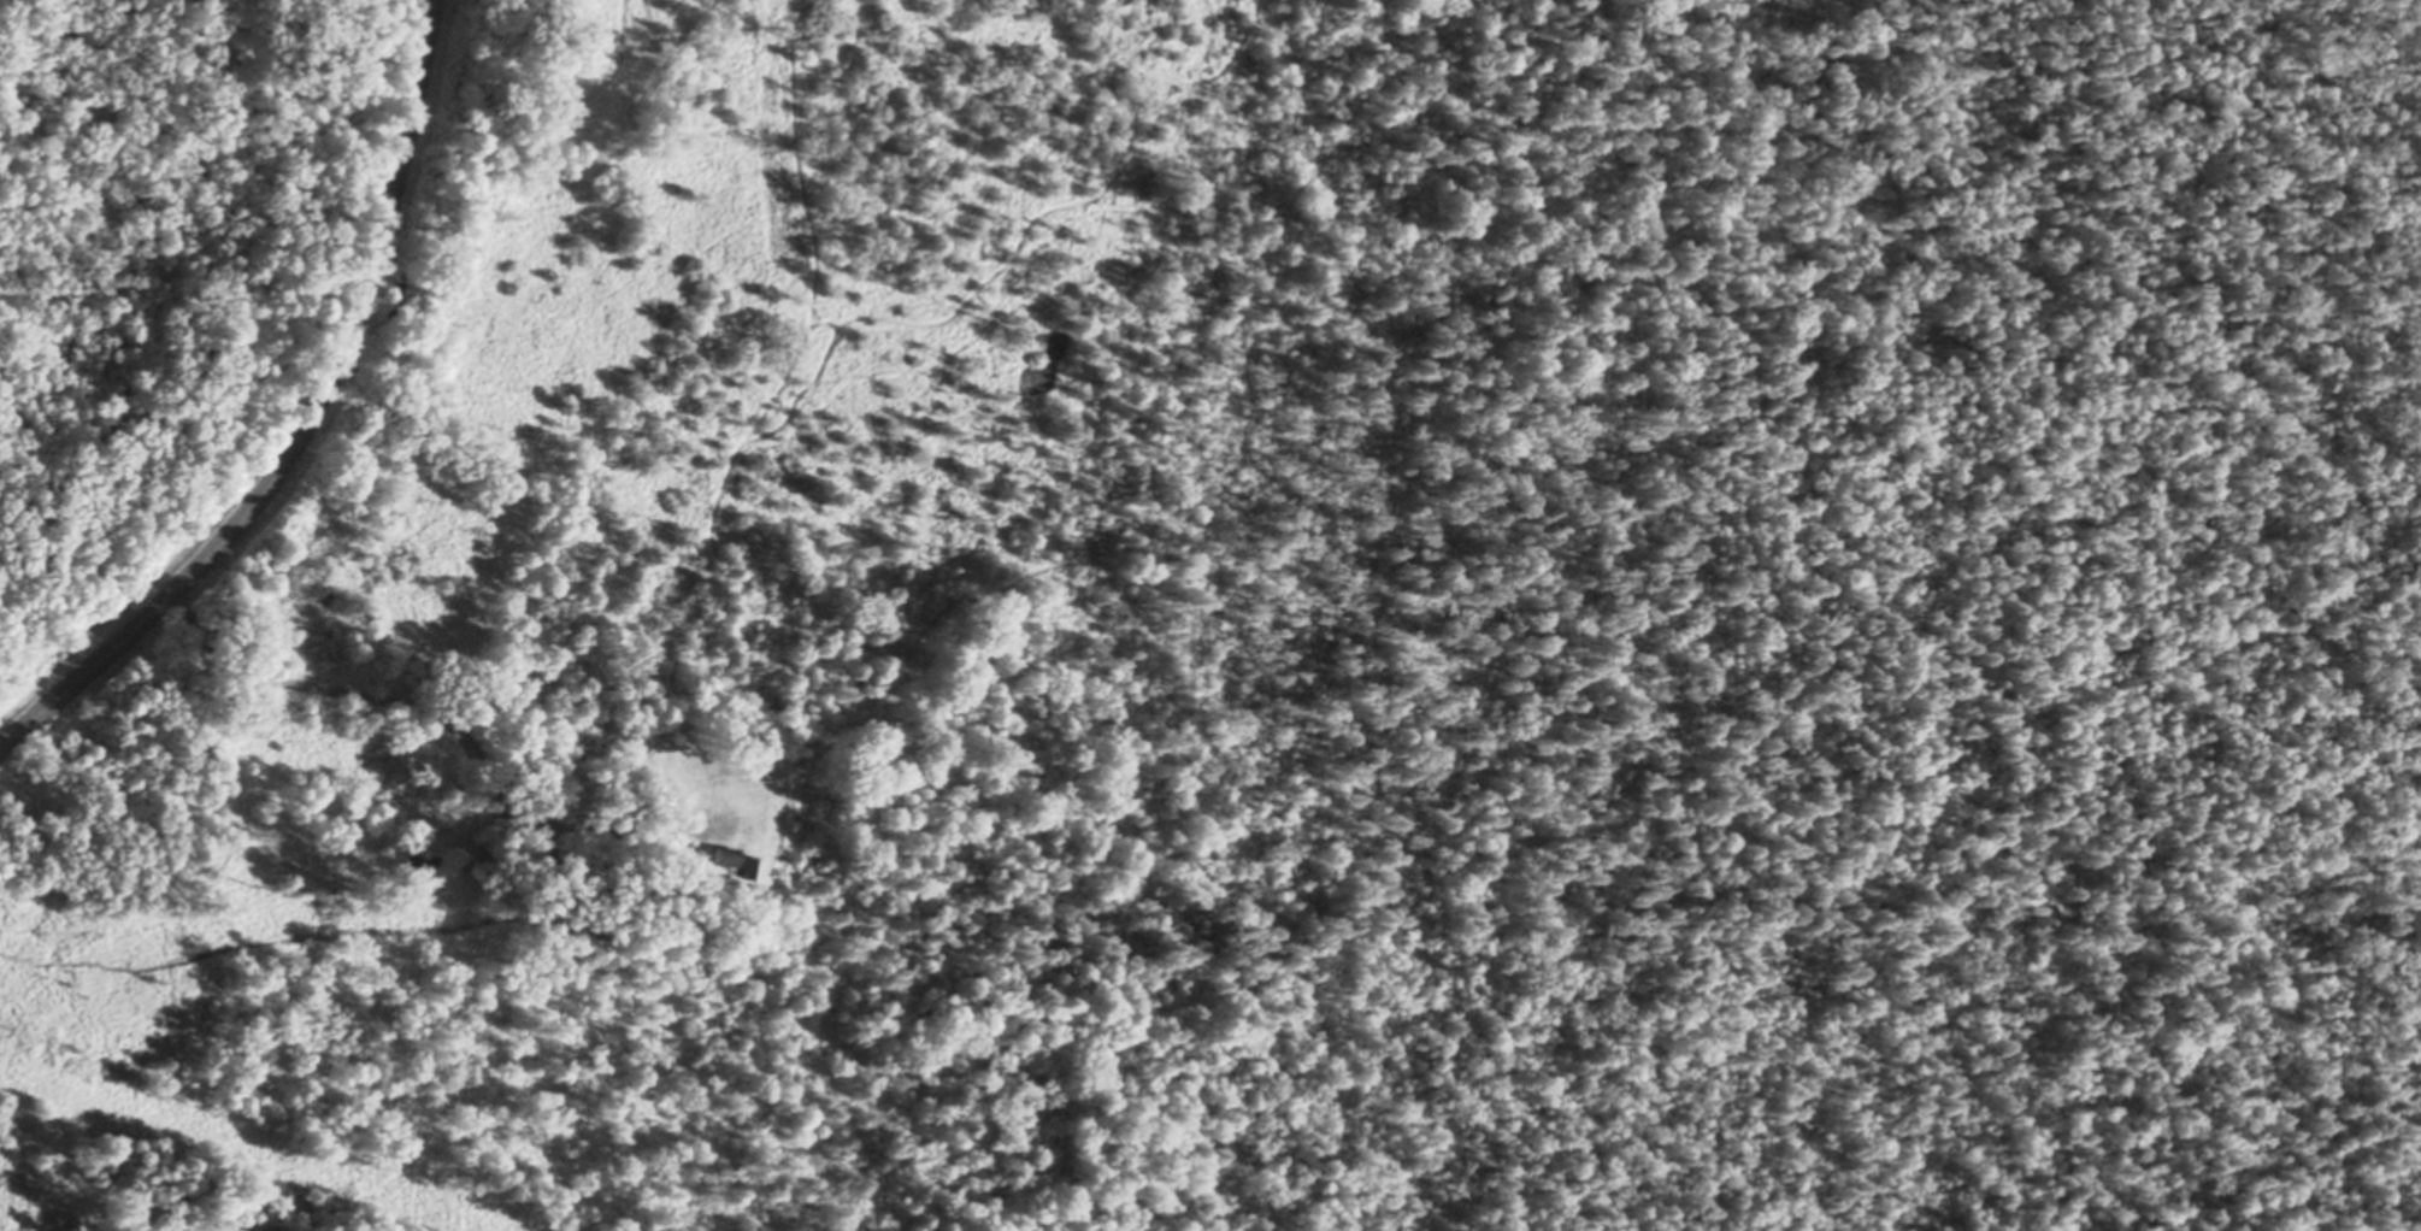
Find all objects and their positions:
road: (305, 425)
building: (719, 855)

